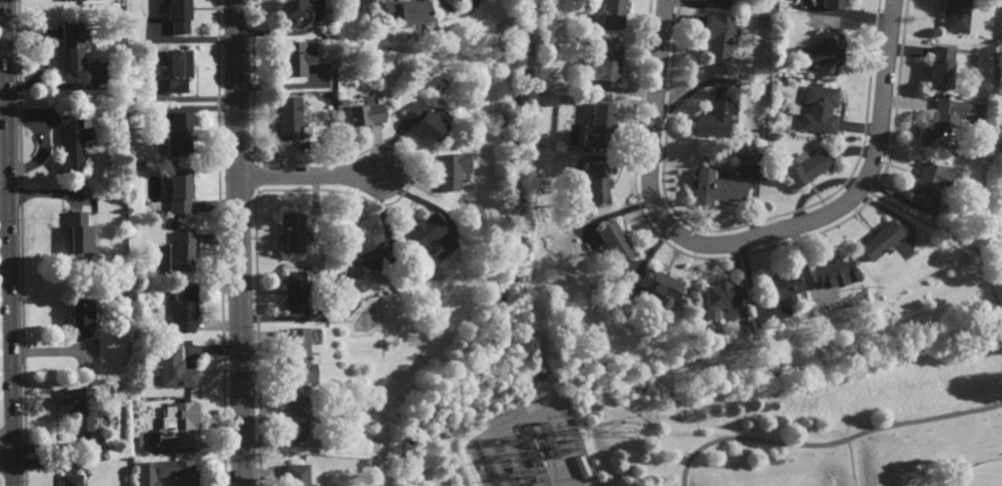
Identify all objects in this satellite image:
building: (70, 0)
building: (456, 0)
building: (360, 2)
building: (833, 3)
building: (292, 11)
building: (407, 11)
building: (179, 15)
building: (612, 15)
building: (956, 16)
building: (555, 22)
building: (718, 34)
building: (71, 47)
building: (821, 53)
building: (296, 58)
building: (607, 61)
building: (943, 66)
building: (178, 70)
road: (4, 82)
building: (1001, 85)
building: (1000, 95)
building: (343, 102)
building: (819, 109)
building: (365, 114)
building: (289, 118)
building: (716, 118)
building: (428, 121)
building: (943, 123)
building: (601, 126)
building: (180, 134)
building: (70, 140)
building: (747, 155)
building: (803, 167)
building: (451, 170)
road: (309, 175)
building: (928, 182)
building: (599, 184)
building: (716, 188)
road: (863, 191)
building: (181, 194)
road: (938, 228)
building: (79, 232)
building: (292, 232)
building: (423, 234)
road: (748, 240)
building: (879, 240)
road: (10, 243)
road: (240, 243)
building: (615, 245)
building: (362, 249)
building: (182, 252)
building: (833, 269)
road: (996, 280)
building: (658, 287)
building: (779, 287)
building: (295, 292)
road: (996, 298)
building: (717, 301)
building: (185, 307)
building: (81, 318)
building: (298, 359)
power tower: (782, 364)
building: (175, 370)
building: (135, 390)
building: (186, 399)
building: (82, 408)
building: (297, 419)
building: (178, 425)
power tower: (638, 426)
road: (832, 445)
power substation: (530, 449)
road: (7, 451)
road: (852, 463)
building: (584, 466)
building: (179, 472)
building: (296, 475)
park: (980, 475)
building: (71, 480)
power tower: (440, 485)

